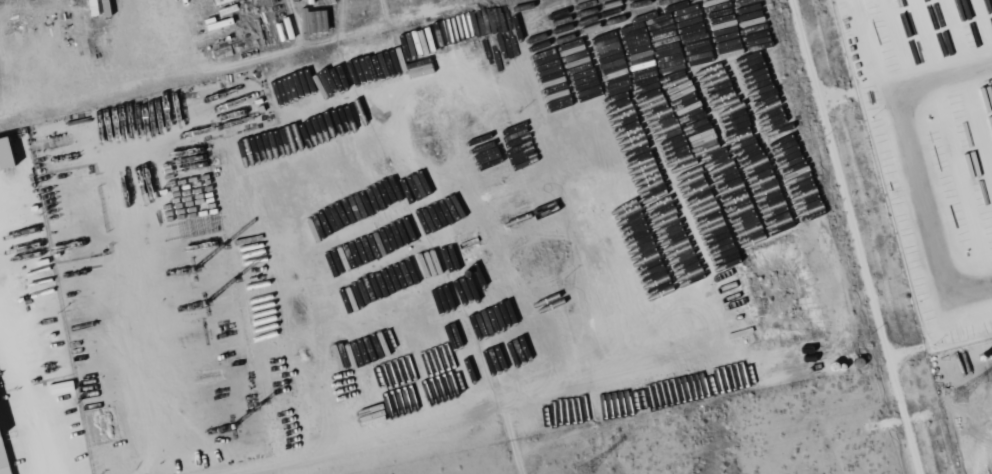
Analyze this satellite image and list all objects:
building: (6, 155)
building: (60, 391)
power tower: (959, 393)
building: (2, 462)
power tower: (582, 471)

